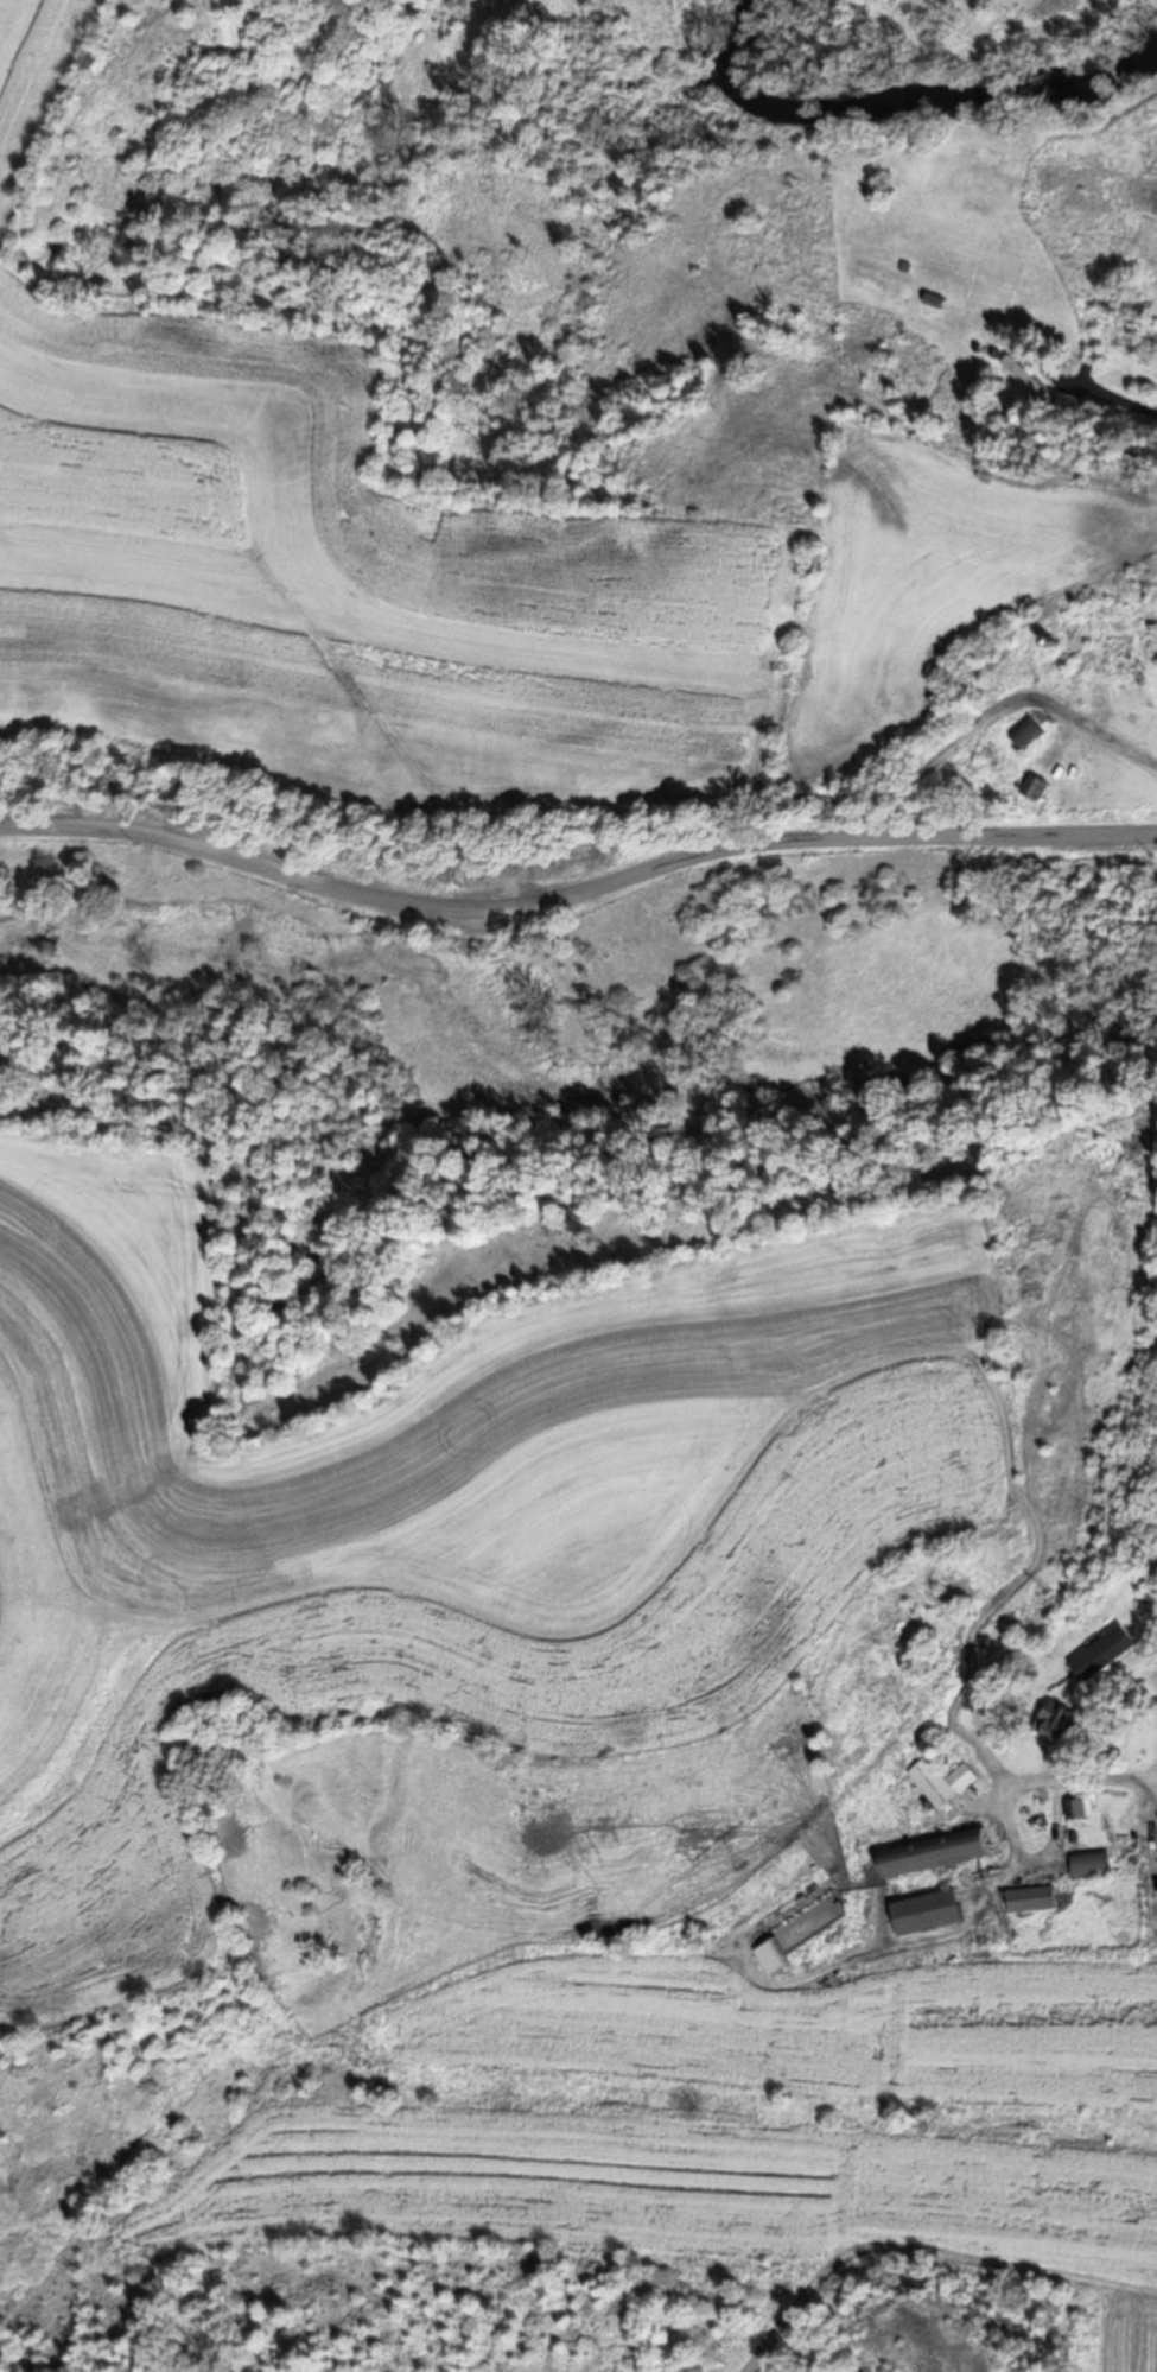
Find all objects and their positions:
river: (899, 100)
building: (936, 300)
building: (1152, 657)
building: (1029, 734)
road: (577, 892)
building: (1102, 1655)
building: (1057, 1724)
building: (943, 1782)
building: (1076, 1809)
building: (934, 1853)
building: (1091, 1865)
building: (1032, 1899)
building: (927, 1913)
building: (773, 1956)

